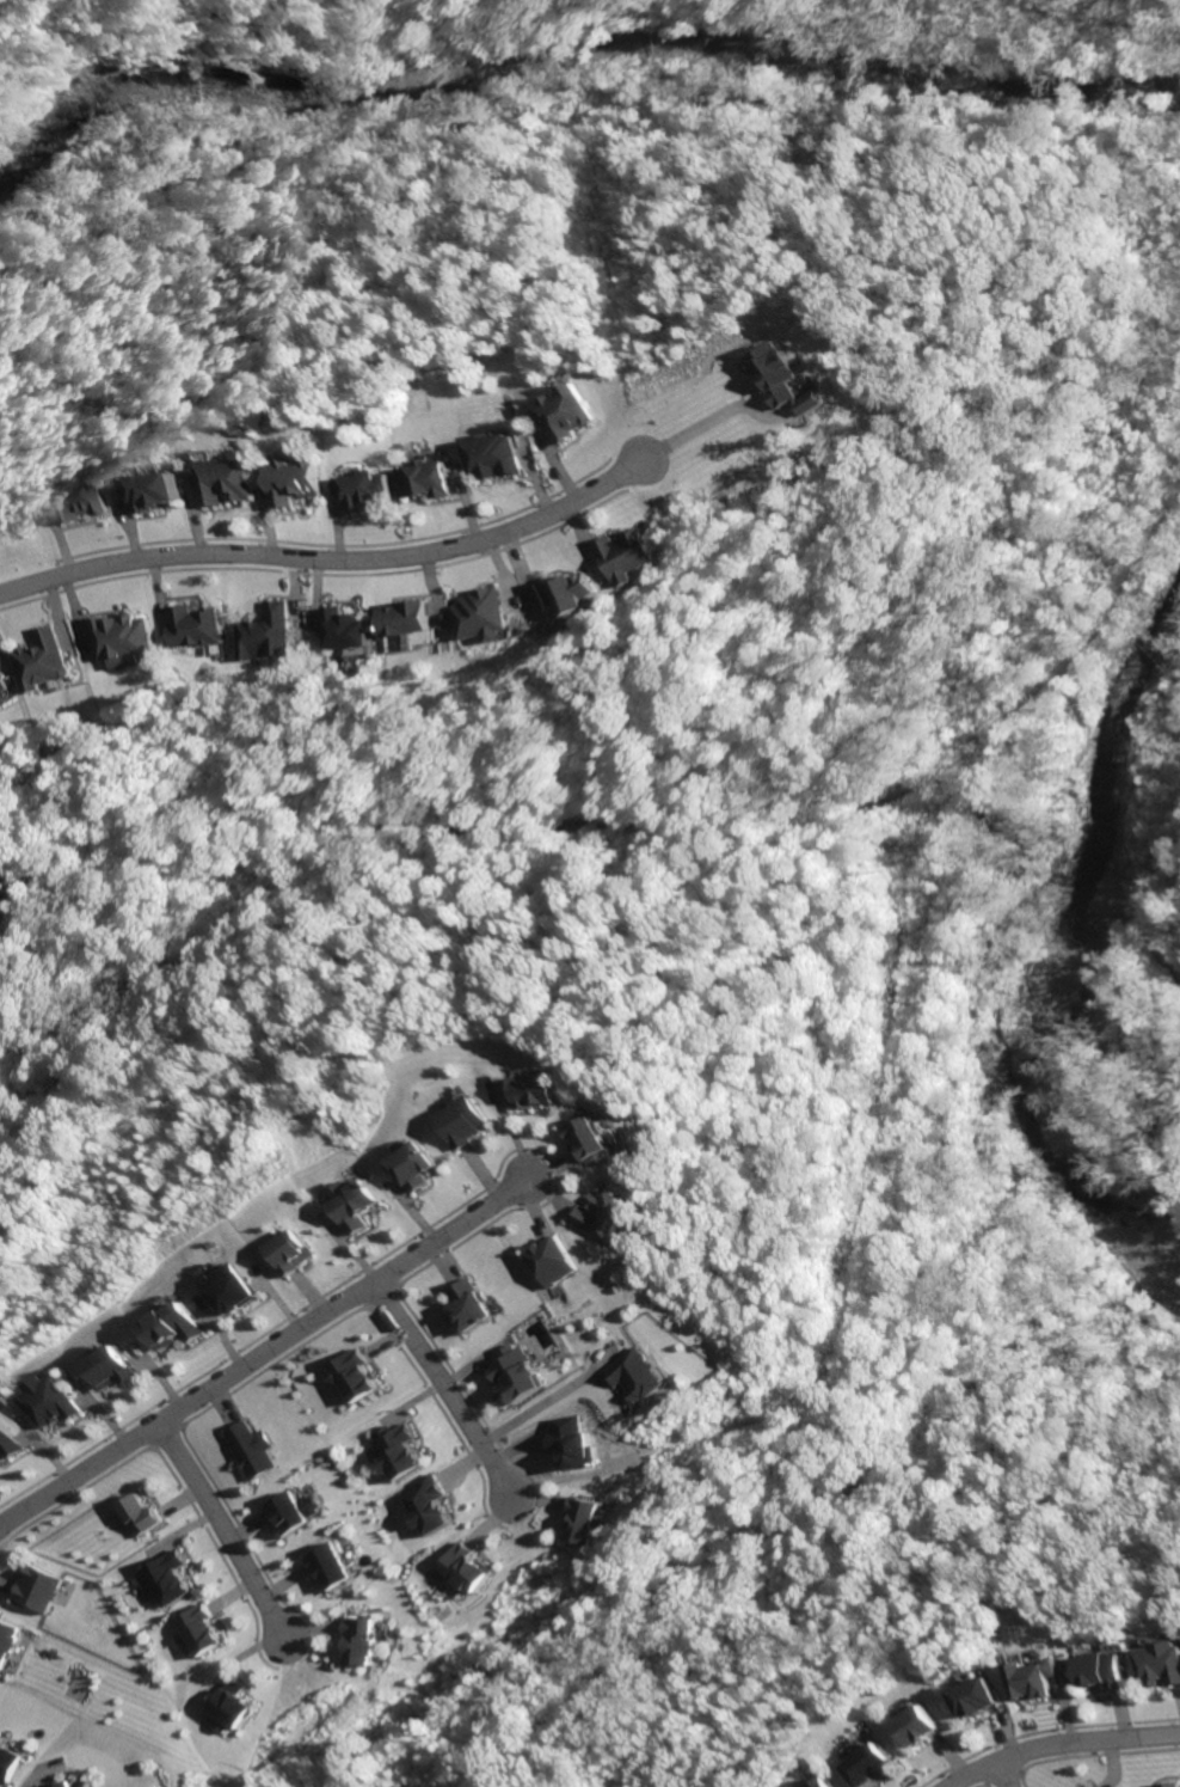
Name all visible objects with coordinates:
building: (797, 380)
building: (574, 416)
road: (729, 417)
building: (502, 457)
building: (233, 481)
building: (435, 481)
building: (302, 485)
building: (160, 490)
building: (371, 492)
building: (90, 497)
building: (629, 555)
road: (333, 561)
building: (570, 589)
building: (481, 614)
building: (412, 618)
building: (196, 624)
building: (354, 628)
building: (266, 632)
building: (125, 637)
building: (41, 660)
building: (2, 683)
road: (1178, 736)
building: (7, 889)
road: (1173, 899)
building: (548, 1091)
building: (469, 1121)
building: (596, 1138)
building: (418, 1165)
building: (357, 1202)
building: (607, 1217)
building: (293, 1251)
building: (551, 1260)
building: (231, 1287)
building: (461, 1306)
building: (174, 1324)
road: (264, 1348)
building: (115, 1367)
building: (510, 1372)
building: (349, 1375)
building: (637, 1375)
road: (437, 1390)
road: (542, 1396)
building: (53, 1400)
building: (8, 1438)
building: (569, 1442)
building: (246, 1450)
building: (391, 1451)
building: (424, 1505)
building: (283, 1512)
building: (133, 1514)
building: (583, 1518)
road: (221, 1532)
building: (331, 1566)
building: (466, 1567)
building: (168, 1577)
building: (30, 1587)
building: (204, 1629)
building: (5, 1638)
building: (367, 1639)
building: (1162, 1663)
building: (1108, 1669)
building: (1039, 1678)
building: (978, 1696)
building: (240, 1705)
building: (921, 1724)
road: (1057, 1743)
building: (12, 1762)
building: (871, 1763)
road: (998, 1774)
building: (824, 1782)
building: (72, 1783)
building: (1167, 1783)
building: (1089, 1786)

